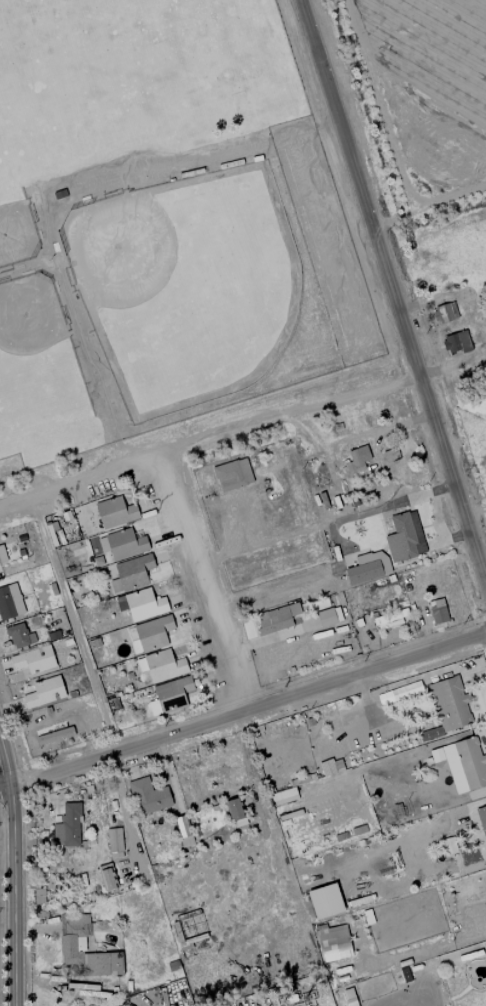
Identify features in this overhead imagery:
road: (392, 295)
building: (449, 311)
building: (456, 342)
road: (208, 439)
building: (356, 460)
building: (232, 475)
building: (114, 513)
road: (323, 525)
road: (435, 527)
building: (404, 537)
building: (124, 544)
building: (2, 555)
building: (362, 572)
building: (131, 573)
road: (295, 579)
road: (198, 582)
building: (9, 601)
building: (140, 604)
building: (437, 611)
building: (325, 617)
building: (394, 618)
building: (276, 619)
road: (73, 622)
building: (153, 632)
building: (19, 636)
building: (33, 659)
building: (163, 665)
building: (403, 691)
building: (43, 692)
building: (170, 695)
building: (448, 705)
road: (242, 710)
building: (54, 735)
building: (465, 764)
building: (330, 766)
building: (148, 796)
building: (233, 809)
building: (482, 821)
building: (67, 826)
building: (181, 826)
building: (114, 842)
road: (10, 873)
building: (106, 879)
building: (38, 895)
building: (324, 901)
building: (333, 943)
building: (72, 944)
building: (349, 998)

